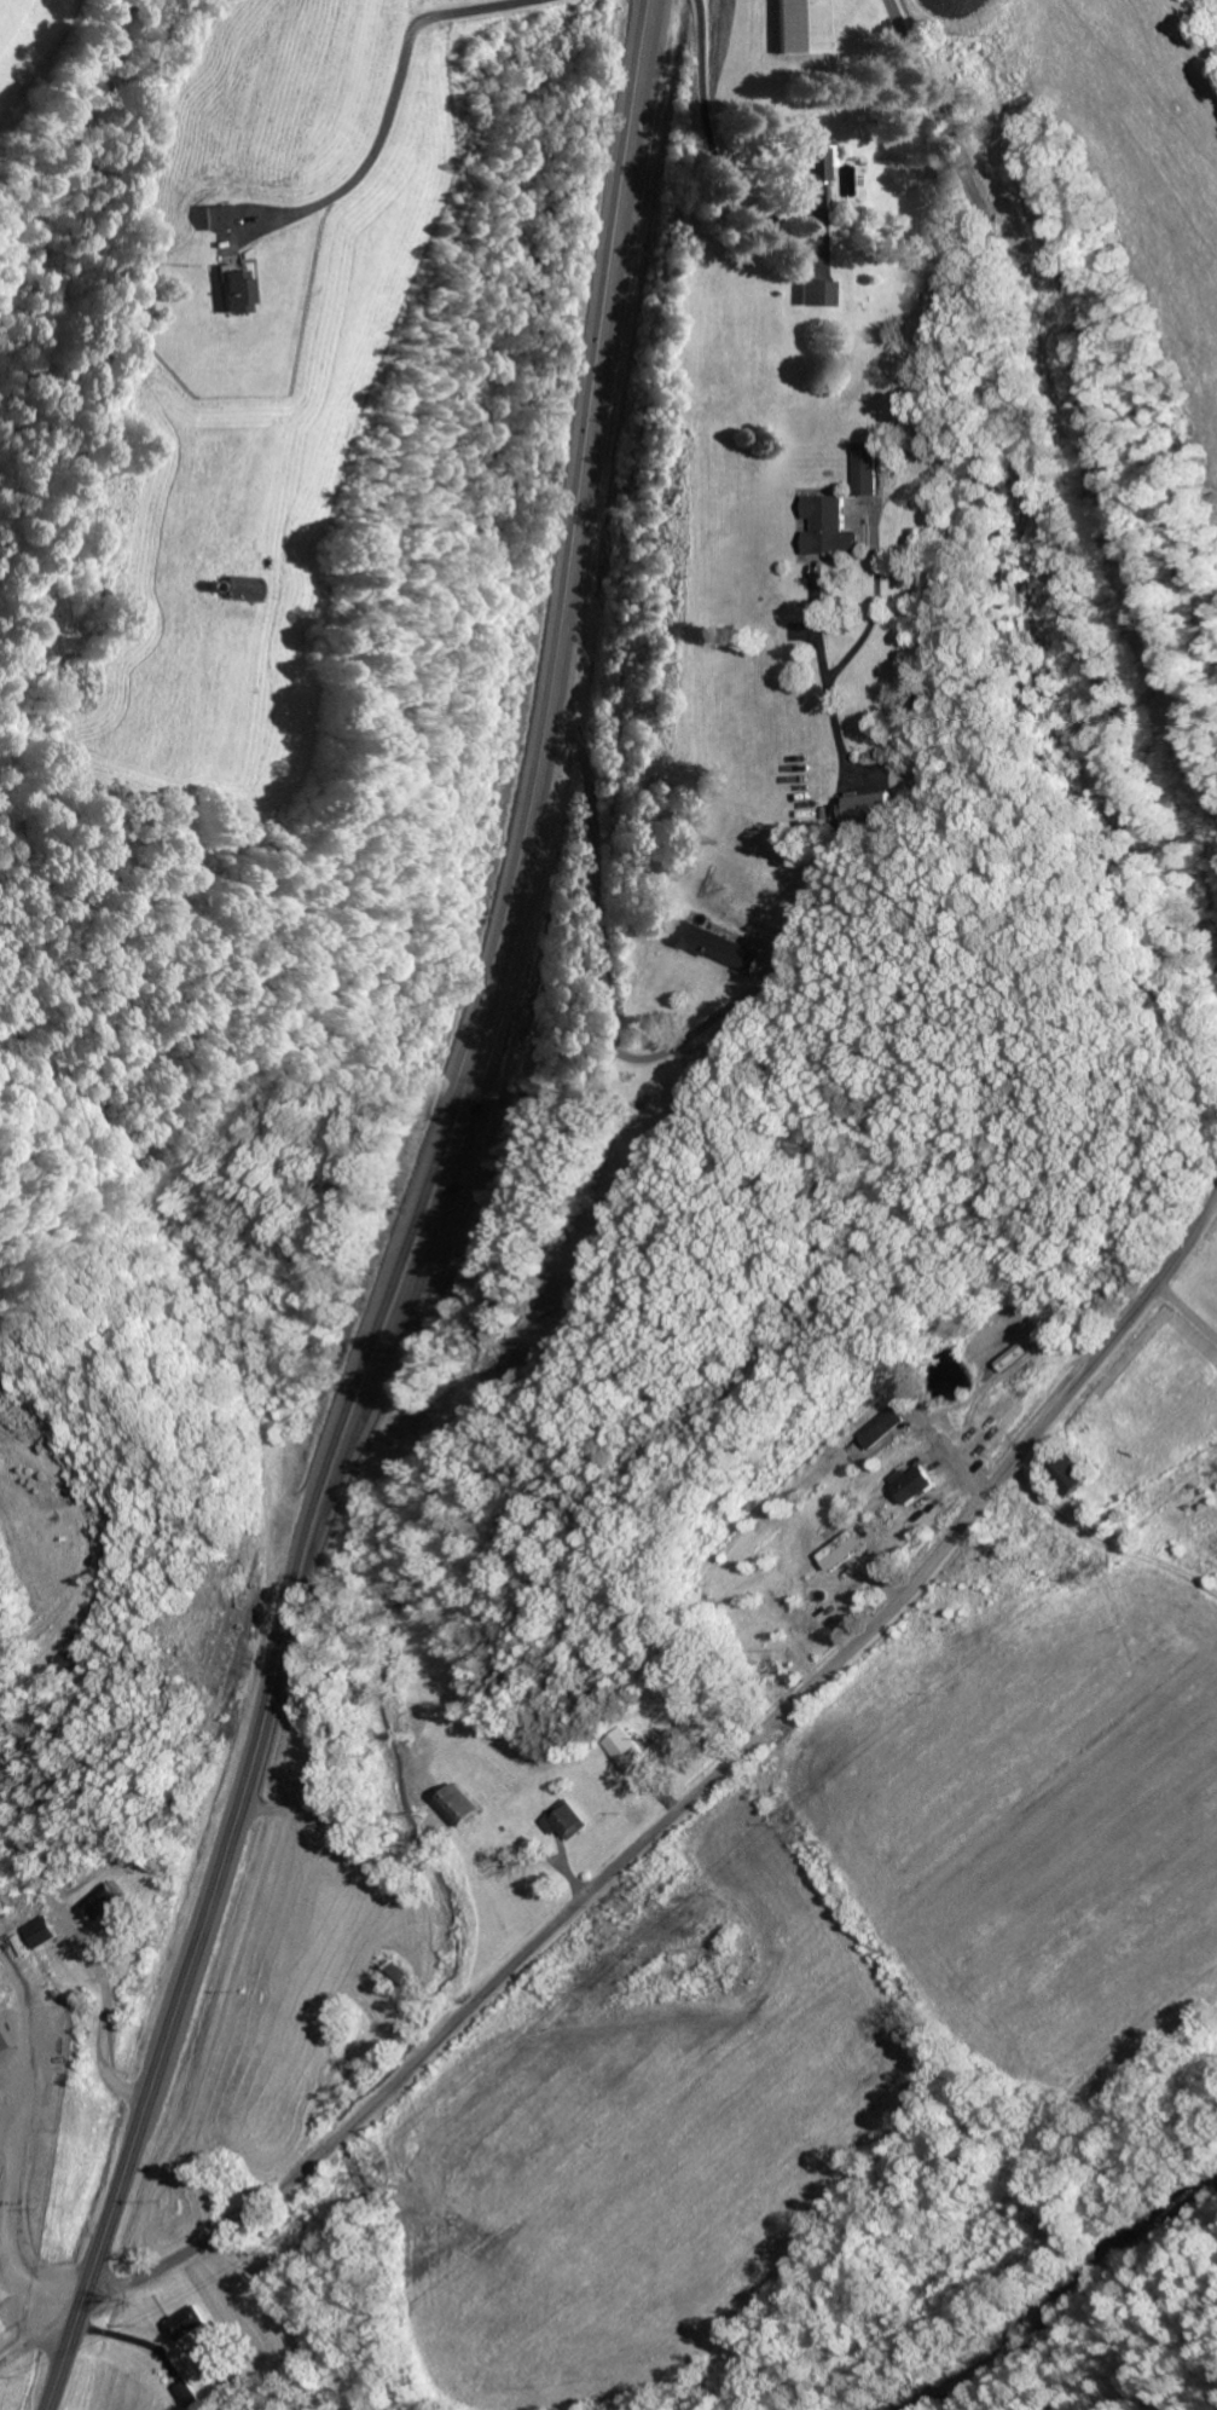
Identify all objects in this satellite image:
building: (800, 27)
building: (816, 171)
building: (216, 216)
building: (236, 289)
building: (817, 293)
building: (867, 468)
building: (824, 527)
road: (997, 549)
building: (242, 588)
building: (868, 805)
building: (714, 947)
road: (1209, 1203)
road: (418, 1221)
building: (1007, 1358)
building: (876, 1427)
building: (1064, 1474)
building: (908, 1484)
building: (836, 1550)
road: (329, 1655)
building: (620, 1750)
road: (697, 1788)
building: (454, 1805)
building: (562, 1820)
building: (93, 1902)
building: (34, 1932)
building: (4, 2040)
building: (184, 2323)
building: (0, 2331)
road: (31, 2339)
building: (182, 2393)

